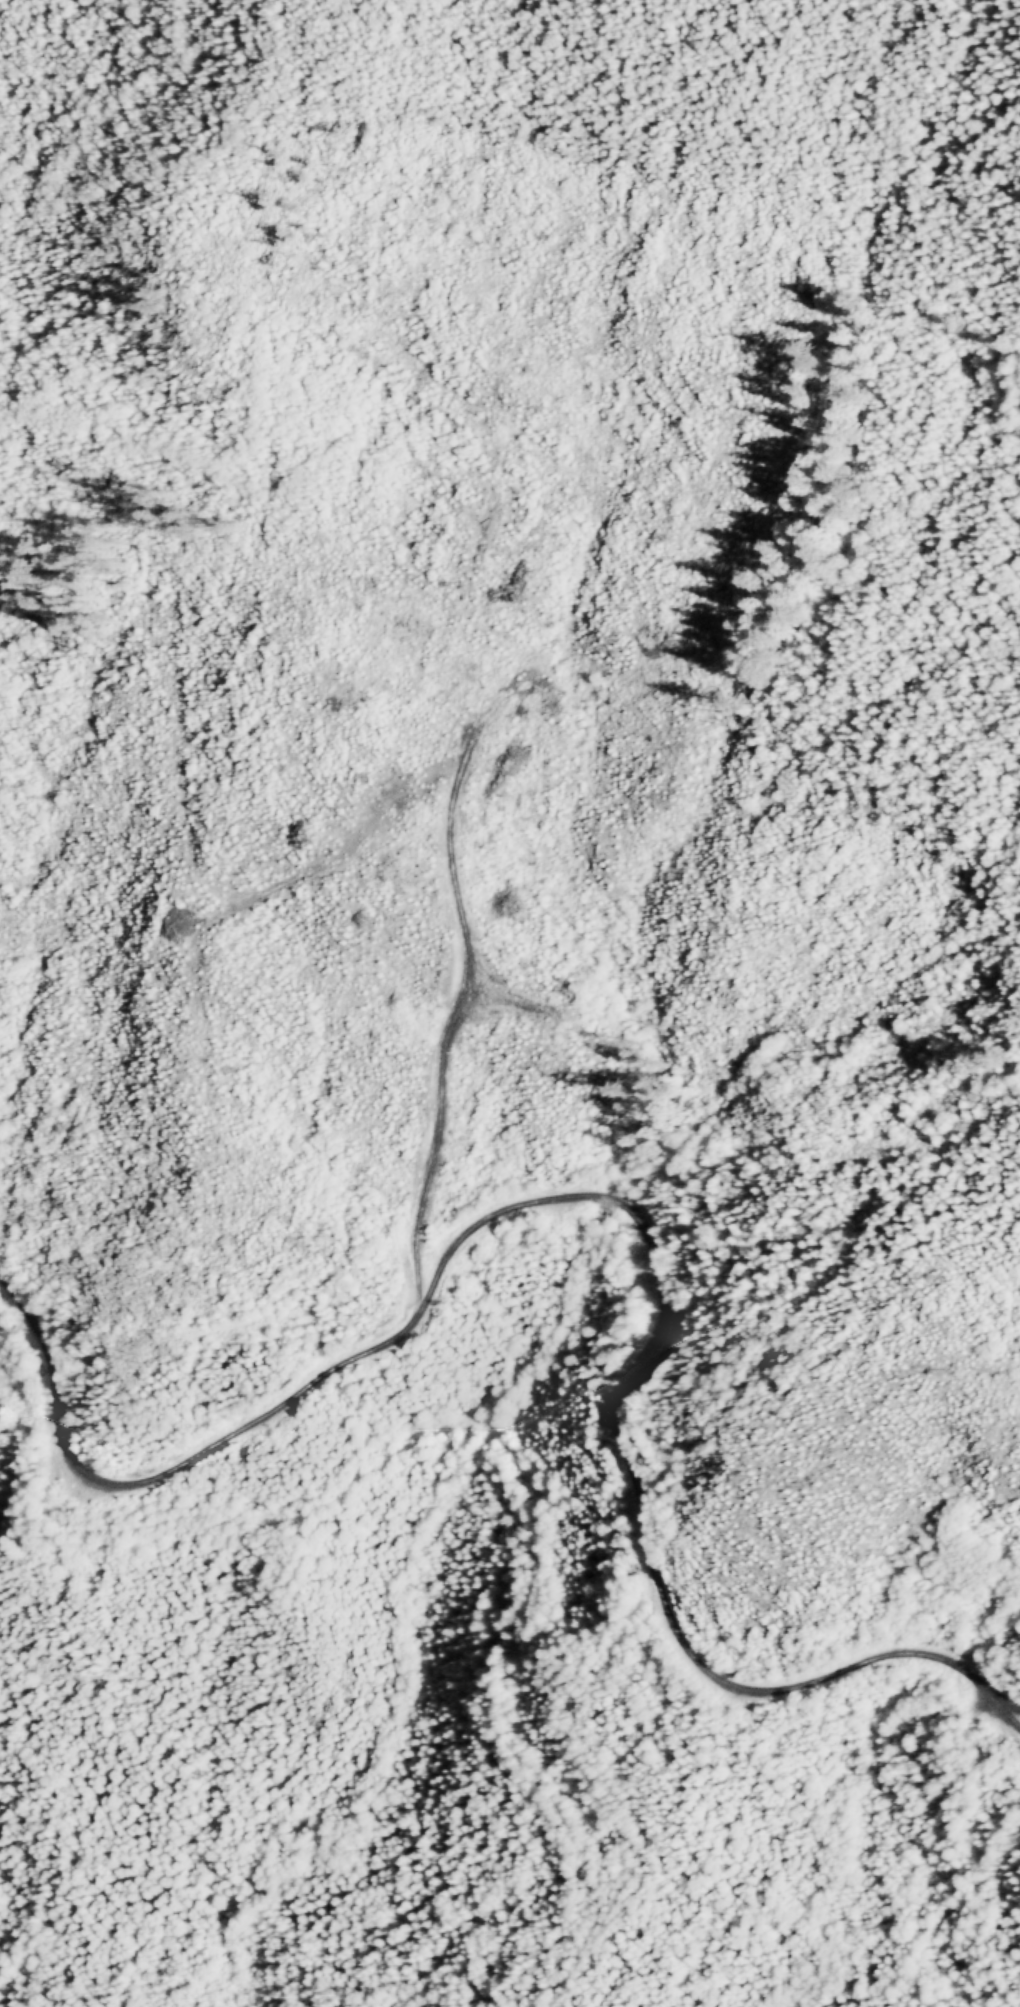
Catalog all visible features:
road: (471, 739)
road: (594, 1217)

